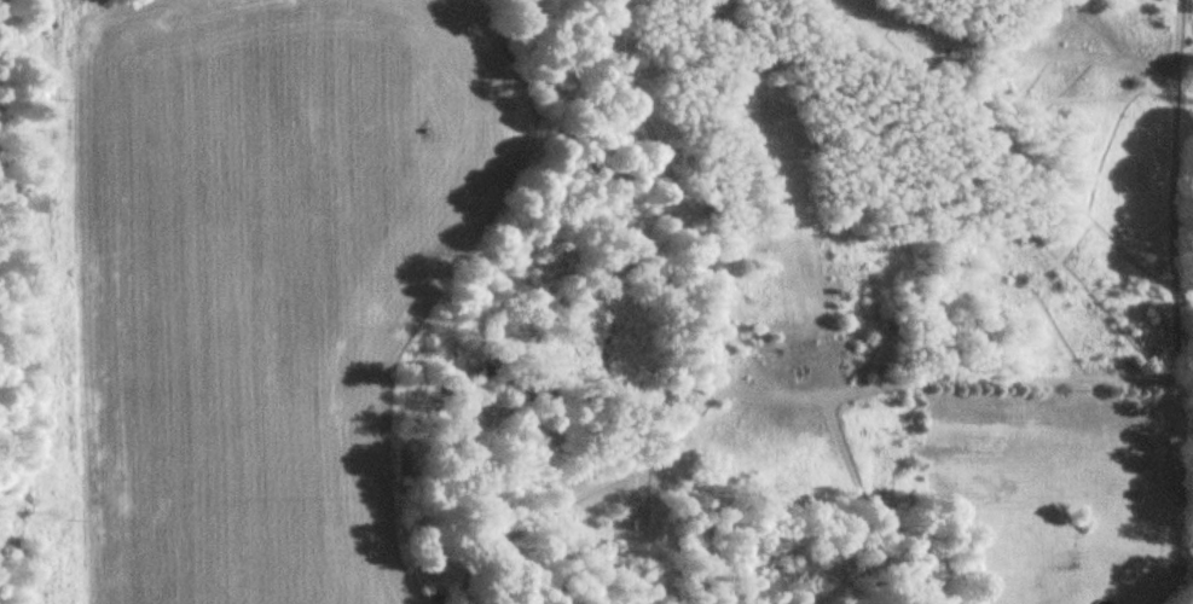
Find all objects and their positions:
road: (551, 563)

